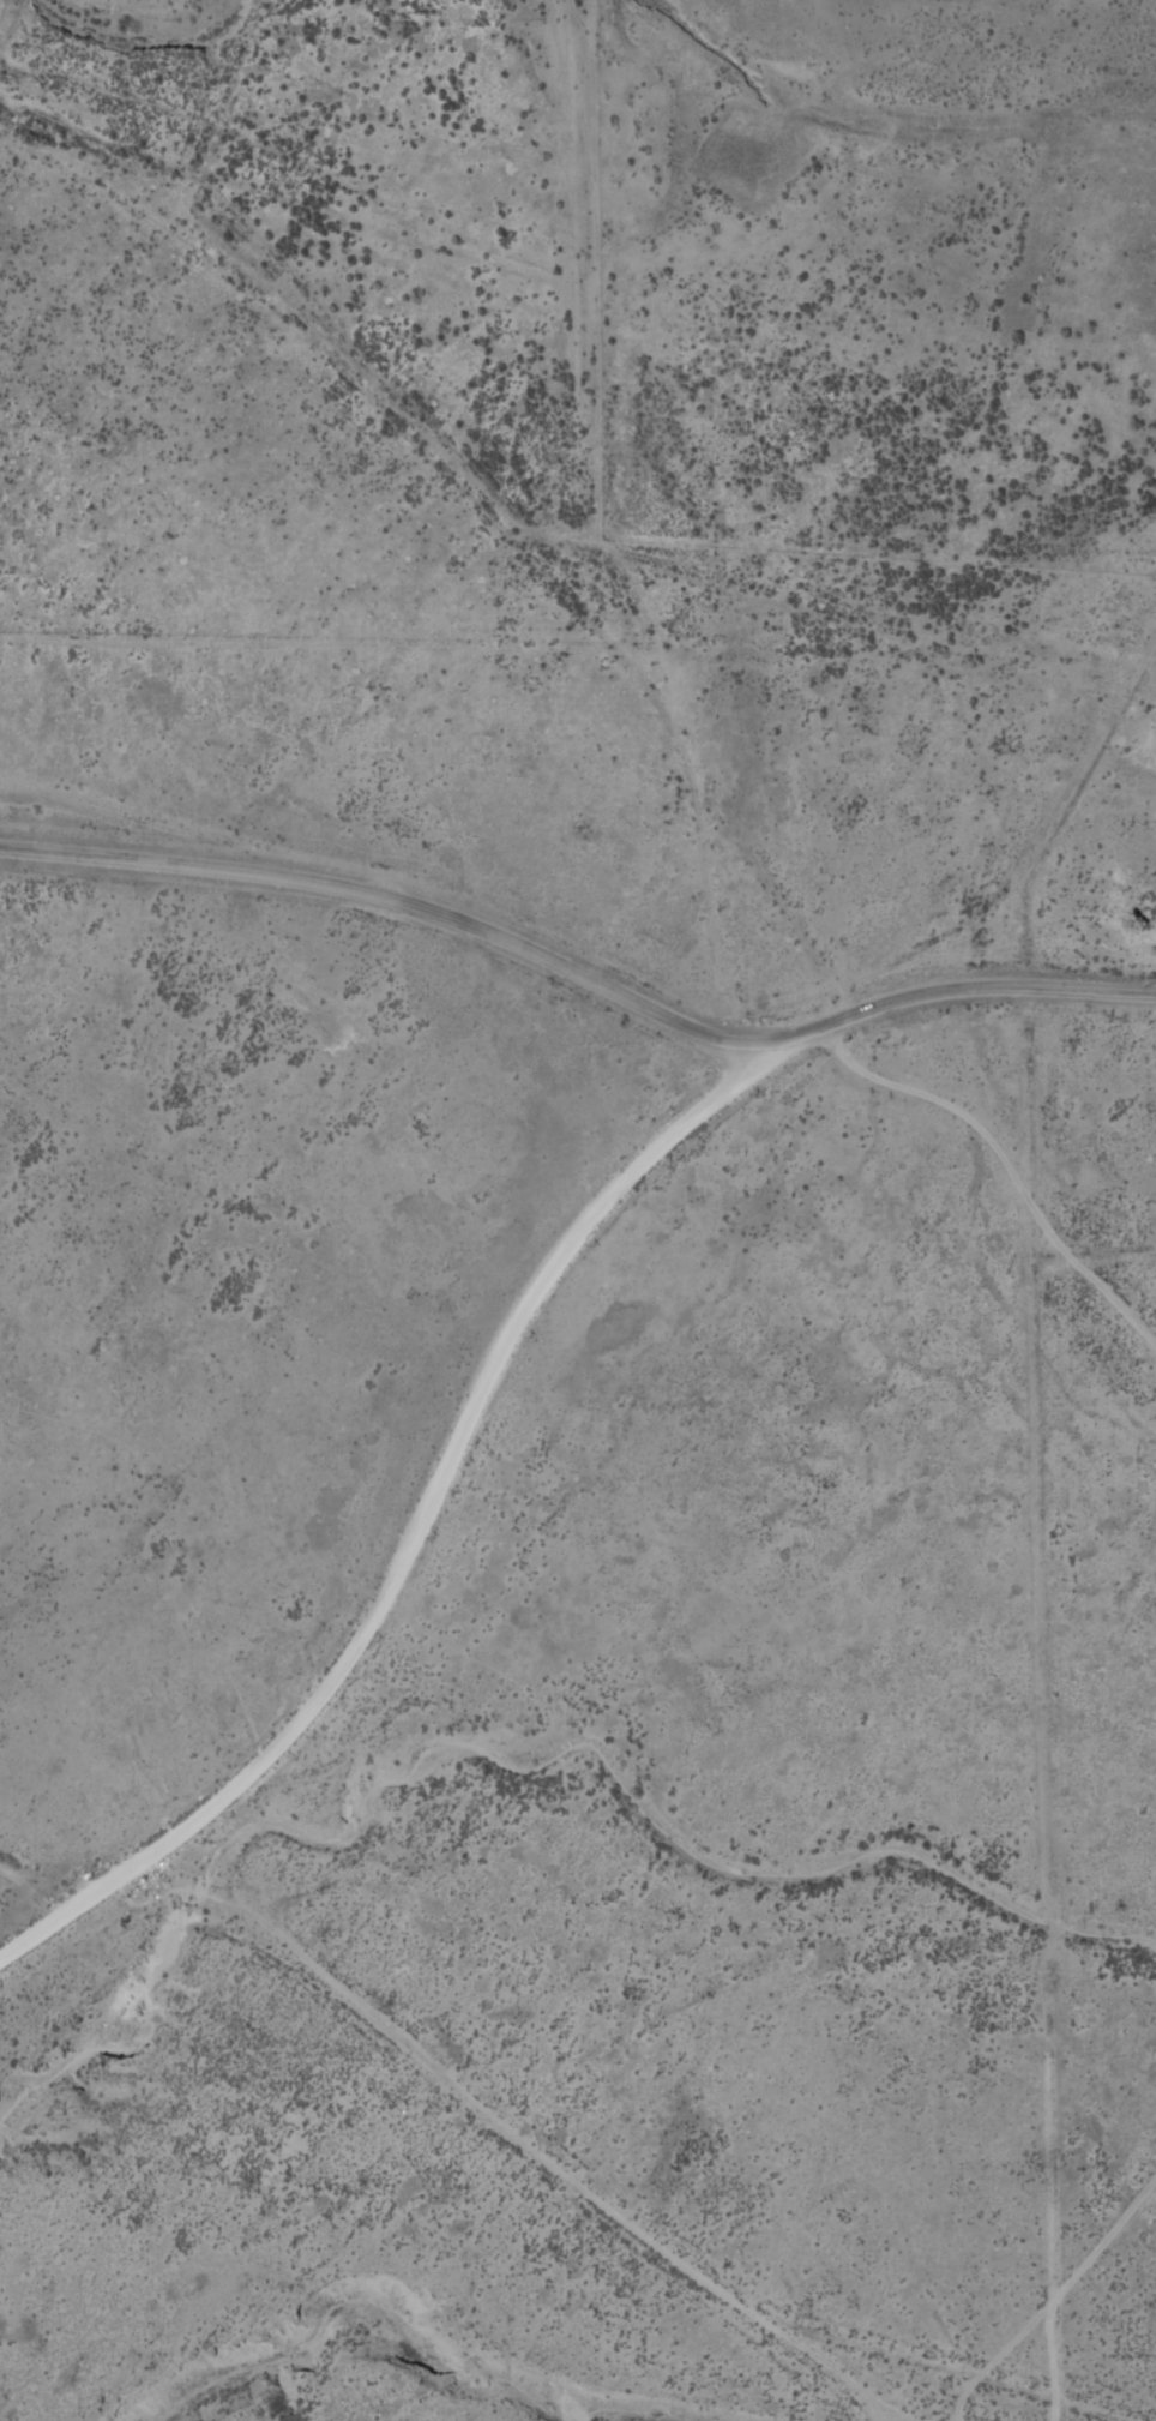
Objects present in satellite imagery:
road: (535, 415)
road: (561, 687)
road: (578, 974)
road: (422, 1508)
road: (49, 1874)
road: (585, 2219)
road: (823, 2365)
road: (884, 2407)

